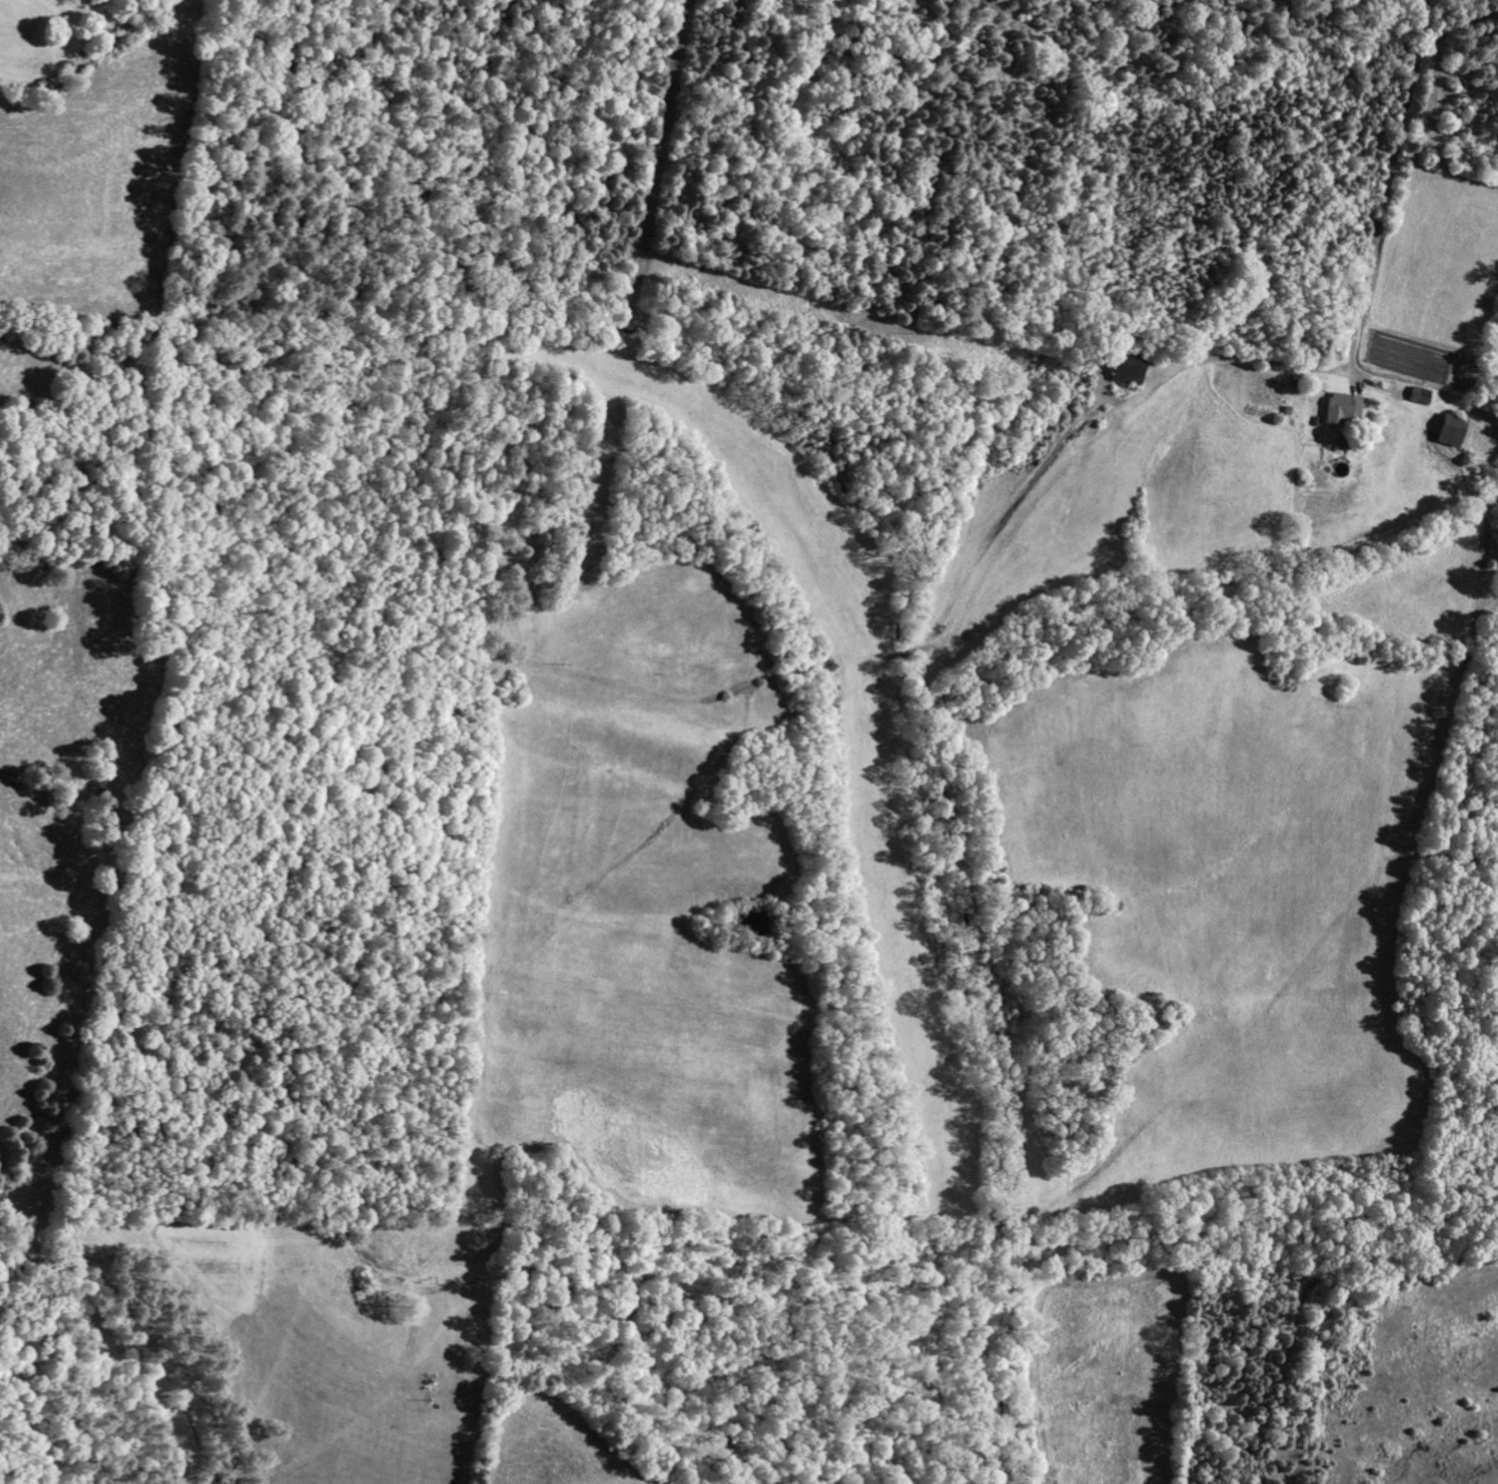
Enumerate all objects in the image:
road: (1396, 225)
building: (1129, 368)
building: (1421, 395)
building: (1343, 407)
building: (1452, 430)

